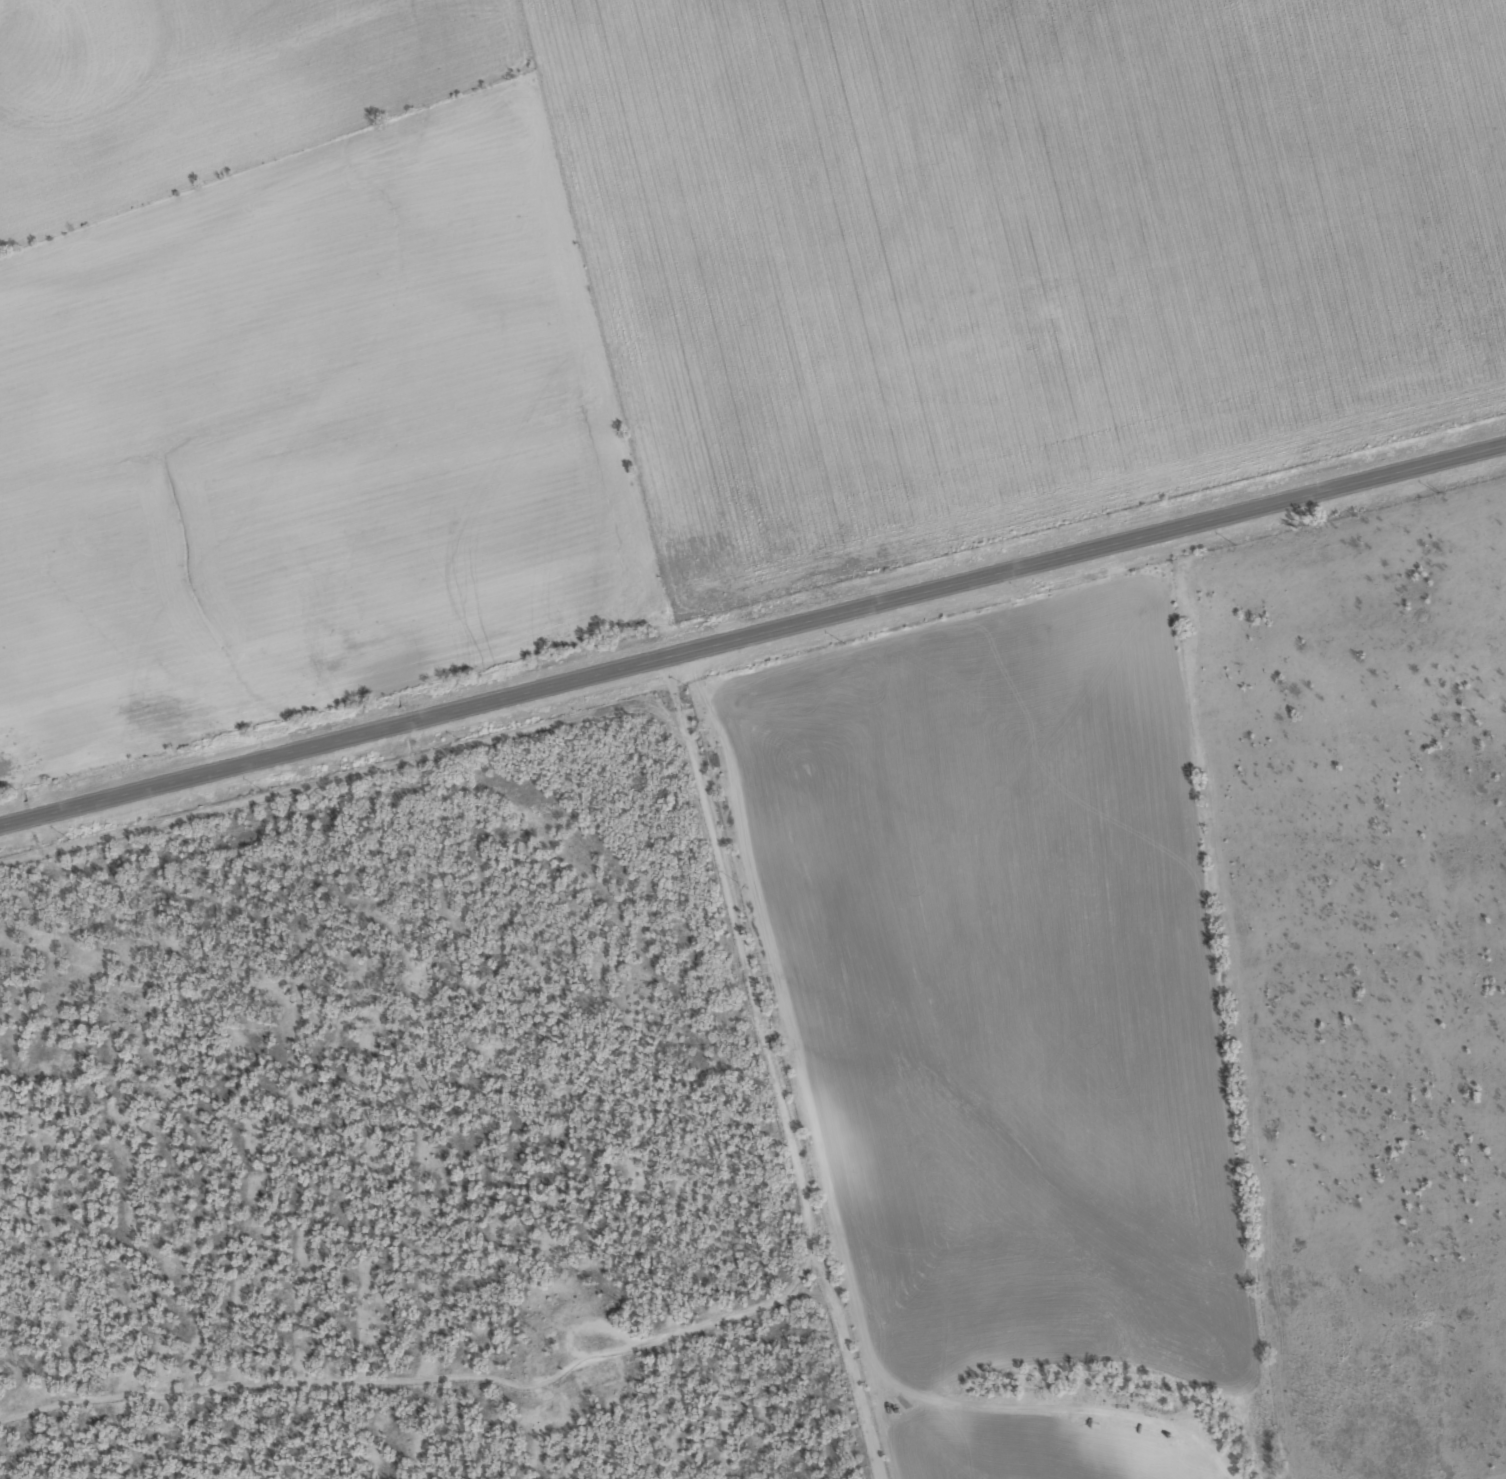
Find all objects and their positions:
road: (752, 634)
road: (792, 1060)

